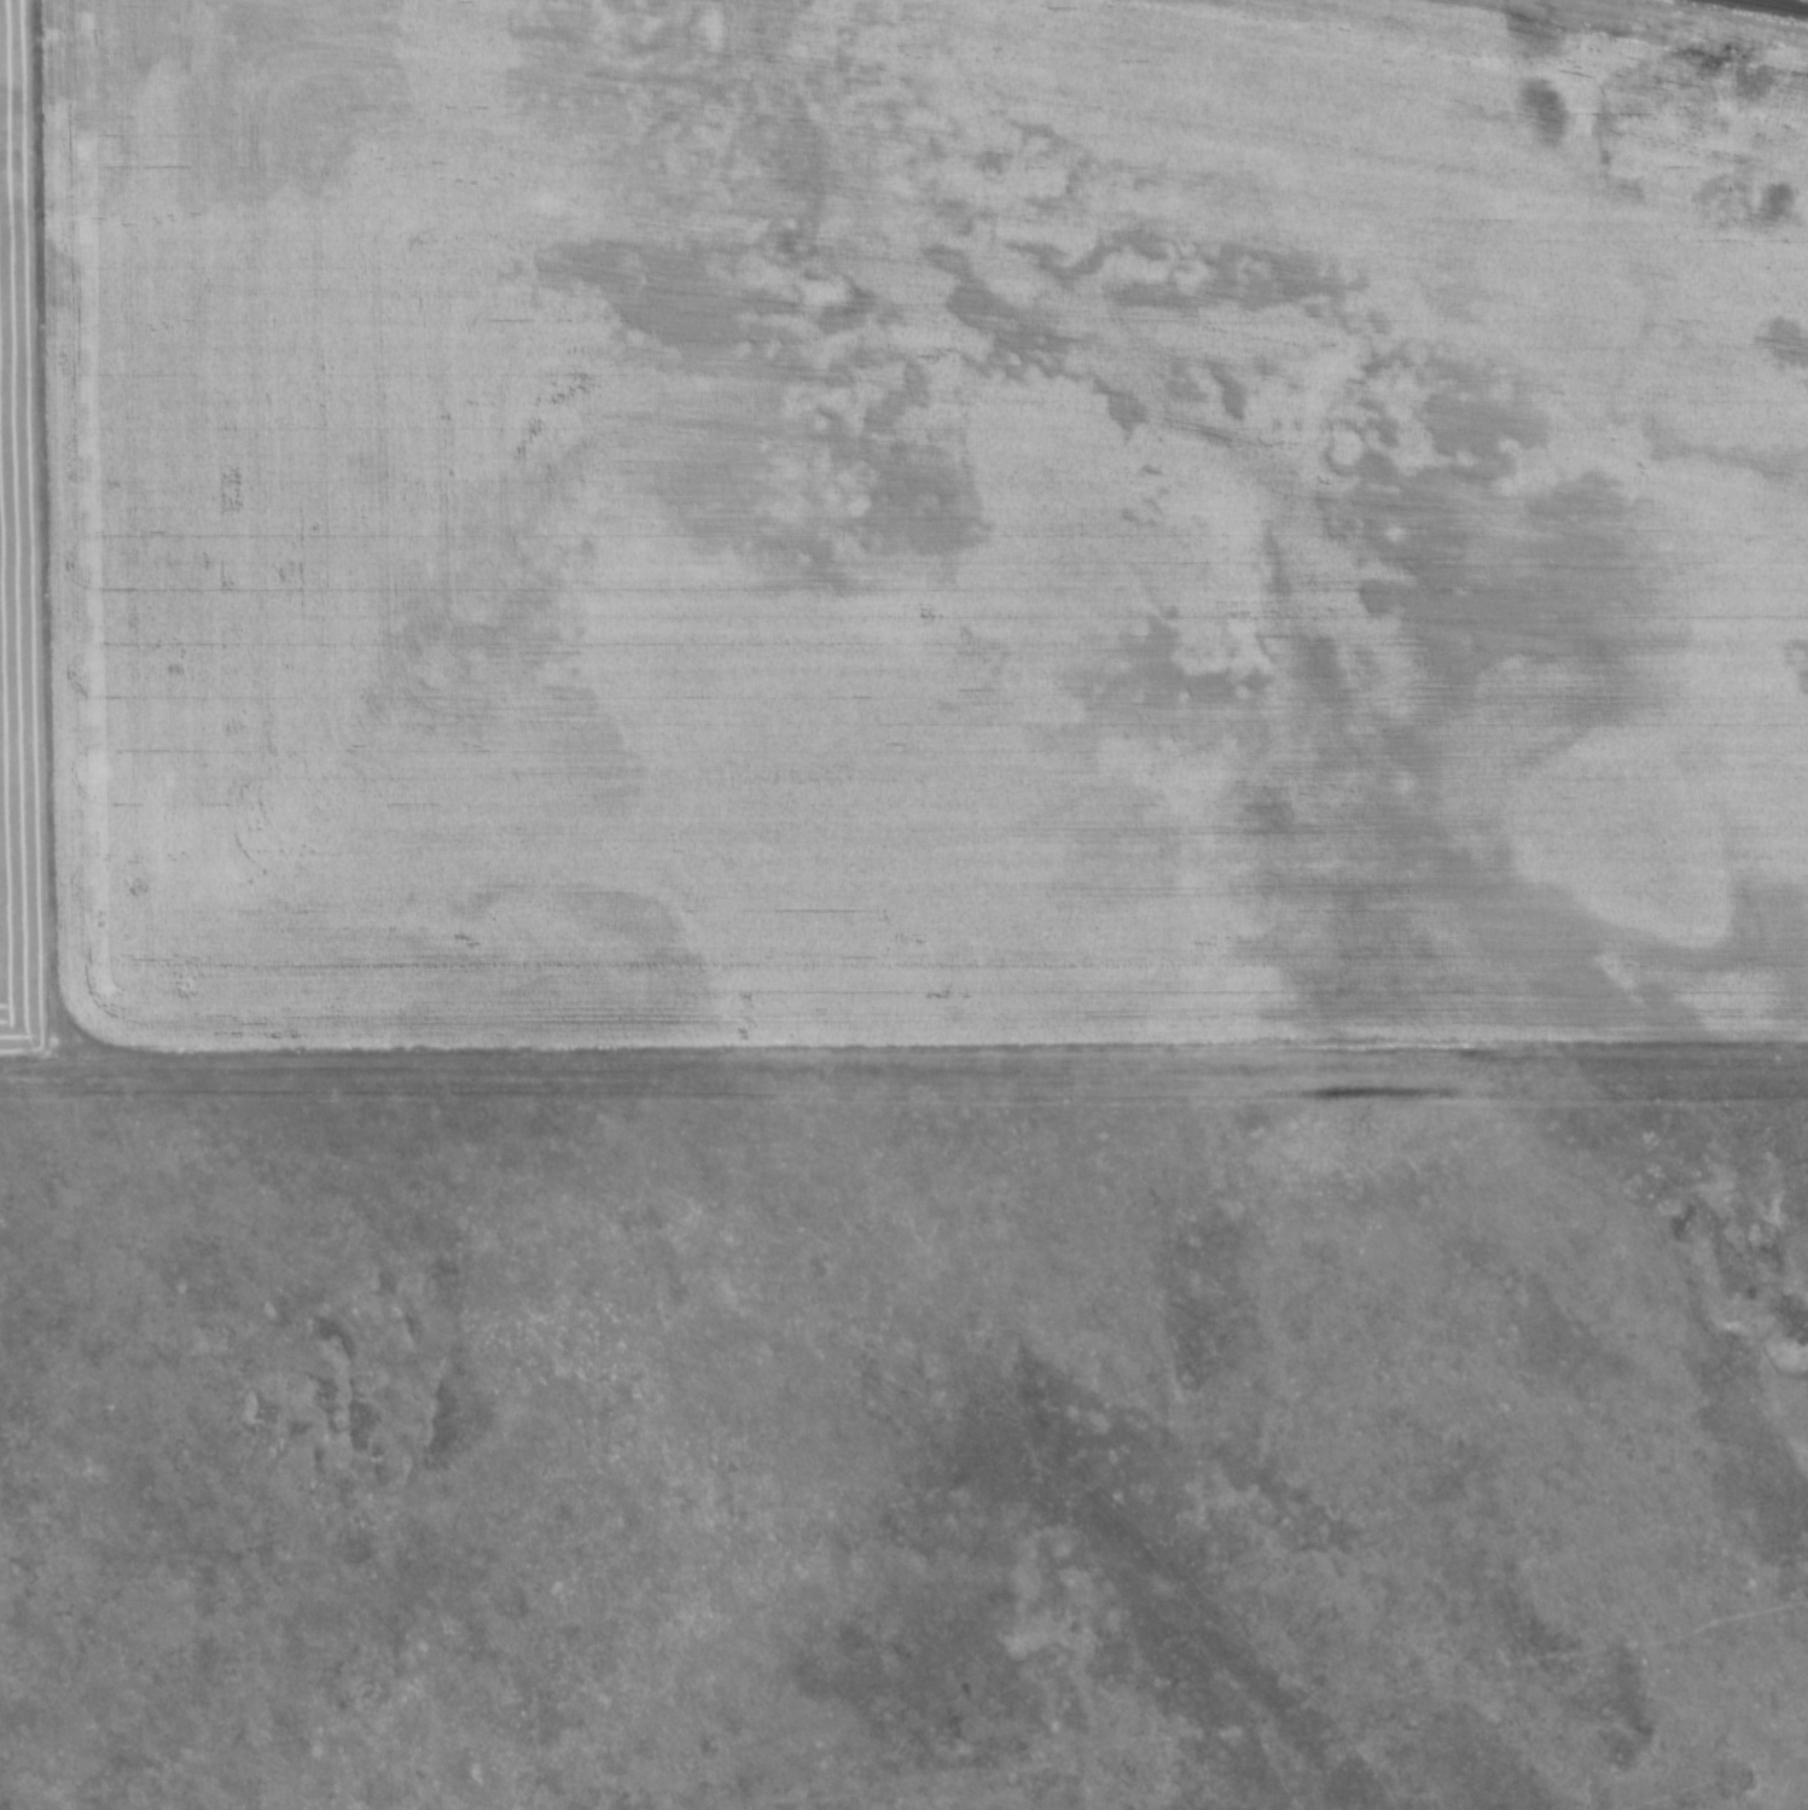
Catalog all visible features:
railway: (1774, 6)

